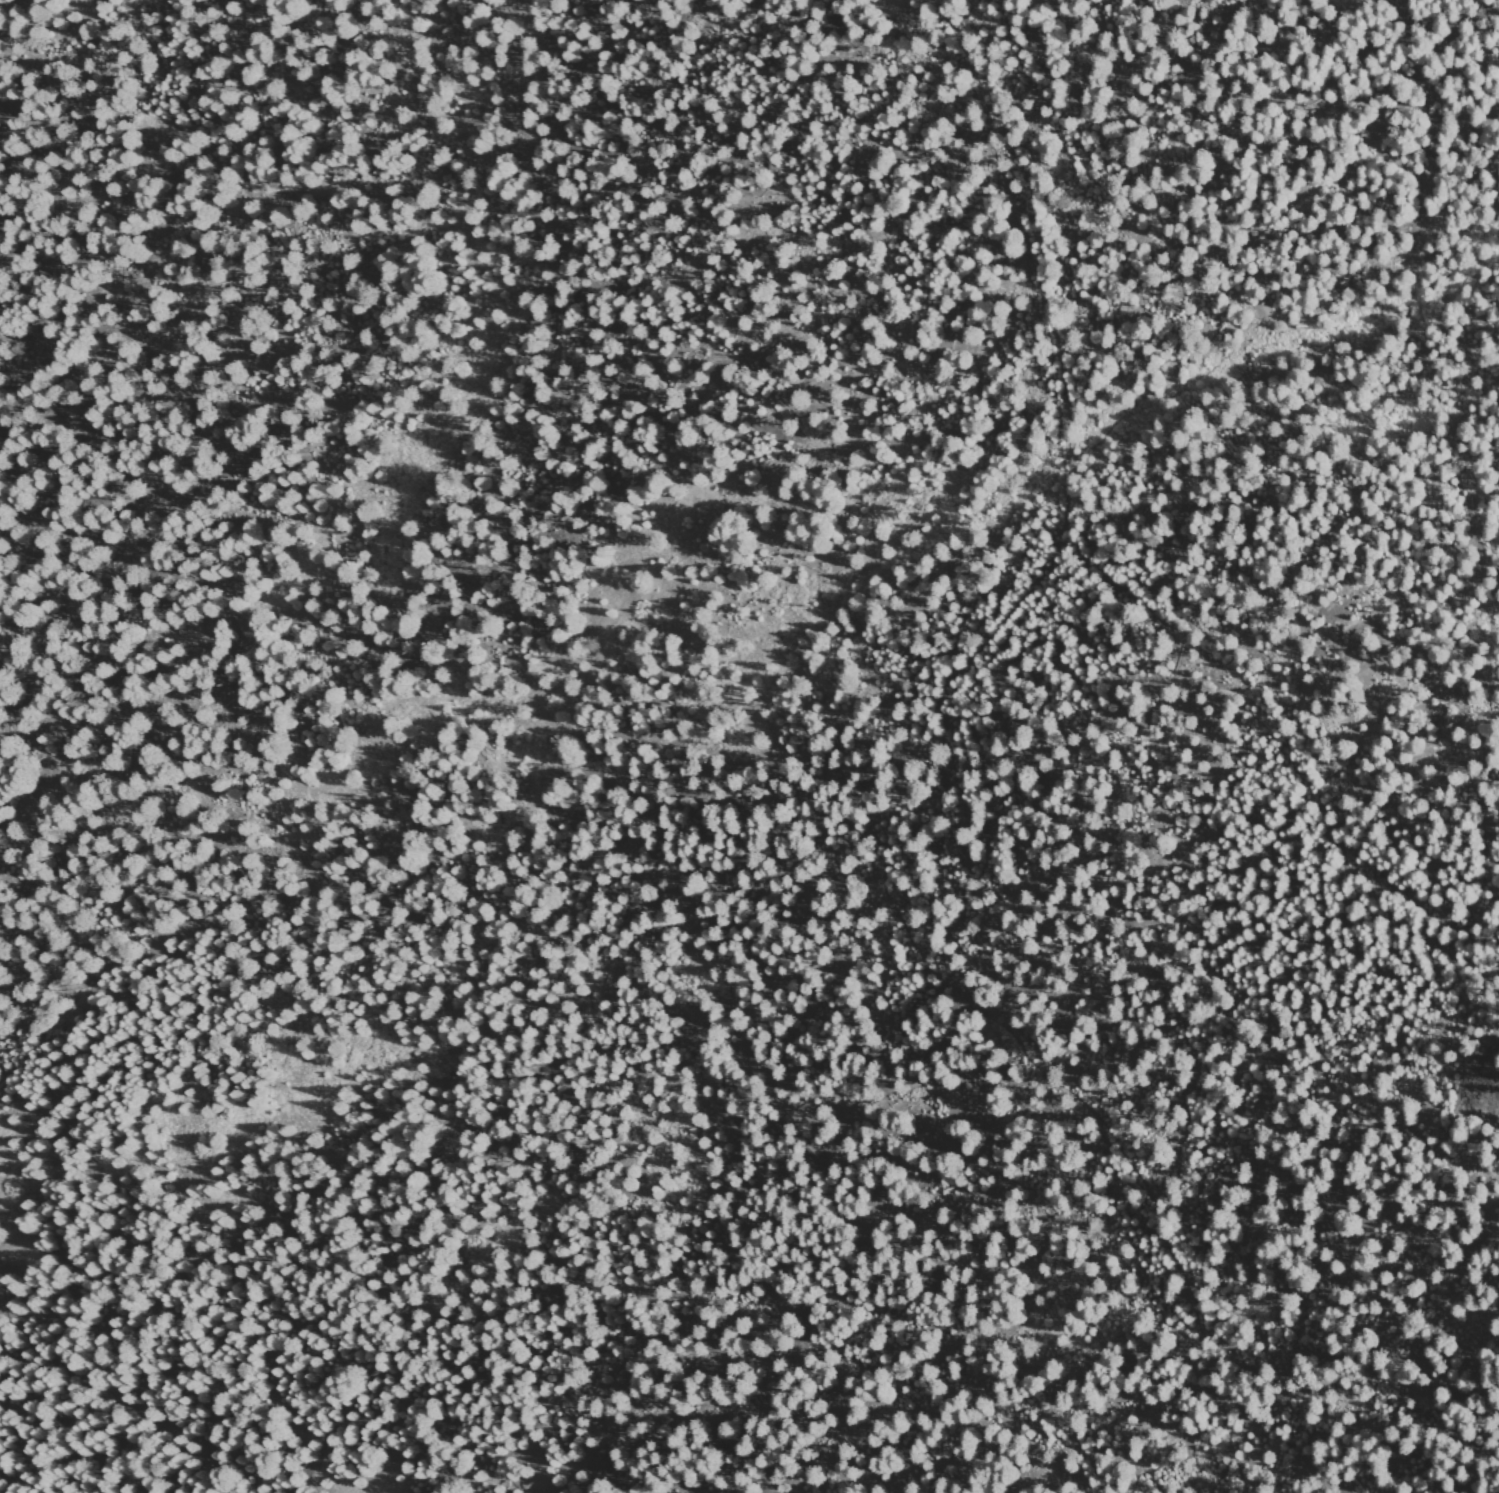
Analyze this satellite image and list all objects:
road: (907, 769)

